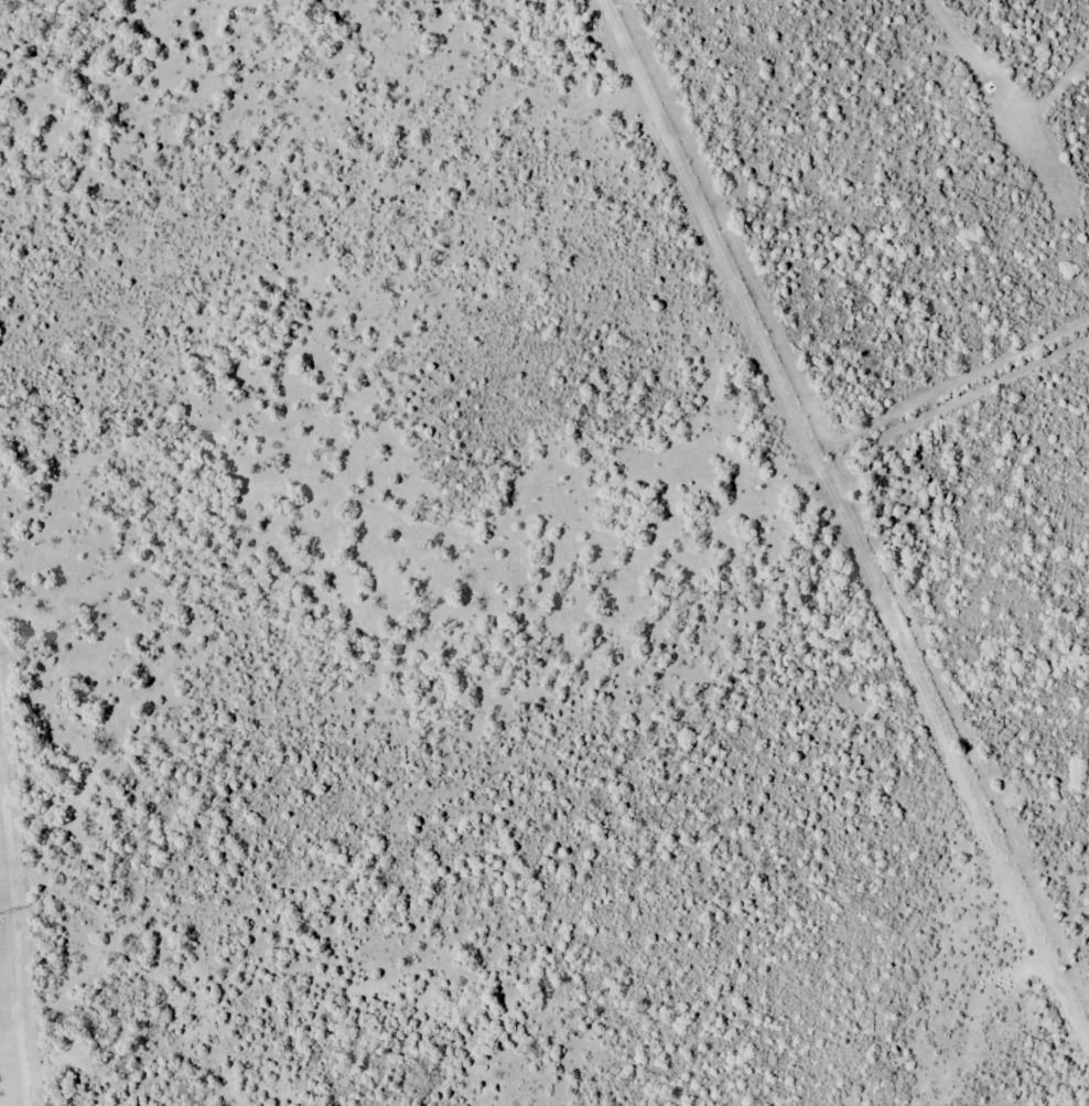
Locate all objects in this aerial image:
road: (775, 378)
road: (959, 791)
power tower: (1, 913)

